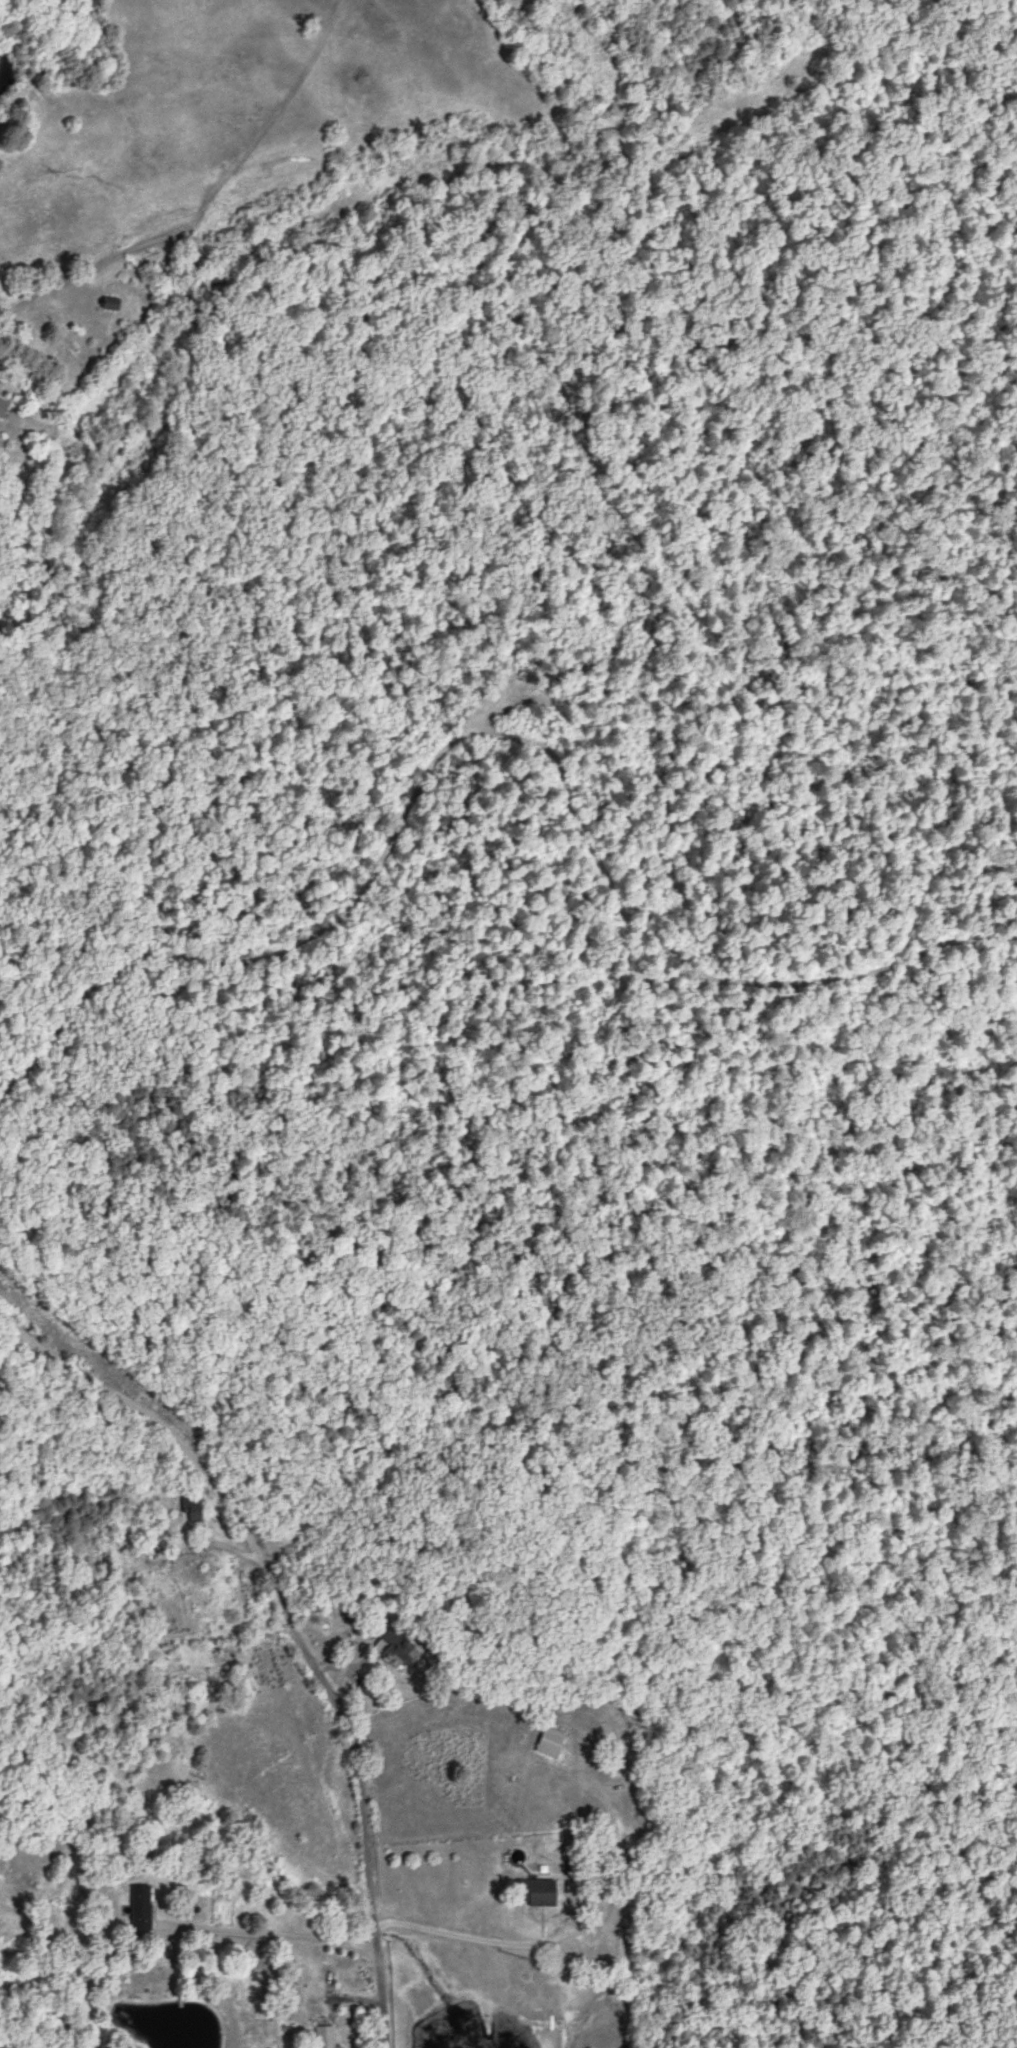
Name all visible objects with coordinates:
building: (110, 302)
building: (2, 407)
building: (192, 1507)
building: (393, 1646)
building: (363, 1685)
road: (334, 1706)
building: (549, 1742)
building: (536, 1891)
building: (140, 1902)
building: (322, 2036)
building: (340, 2047)

